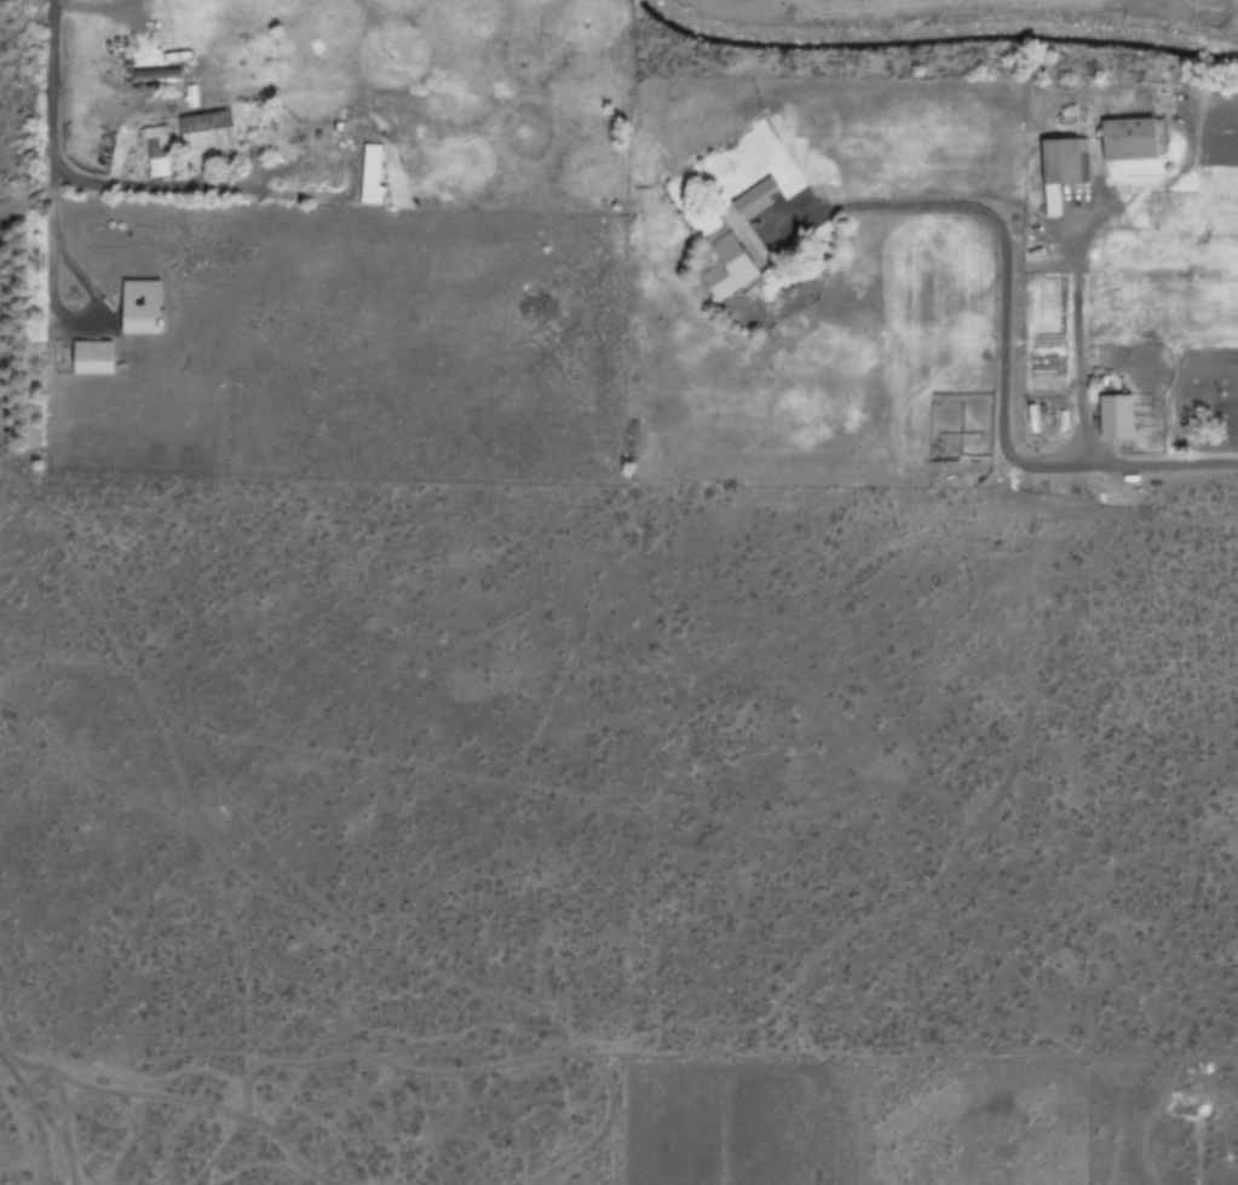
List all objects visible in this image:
building: (205, 130)
building: (369, 137)
building: (1128, 139)
road: (51, 146)
building: (1059, 161)
crop: (771, 201)
building: (782, 238)
building: (730, 243)
building: (139, 305)
building: (91, 357)
road: (1025, 460)
road: (414, 1065)
road: (218, 1104)
road: (34, 1112)
road: (133, 1129)
road: (547, 1161)

